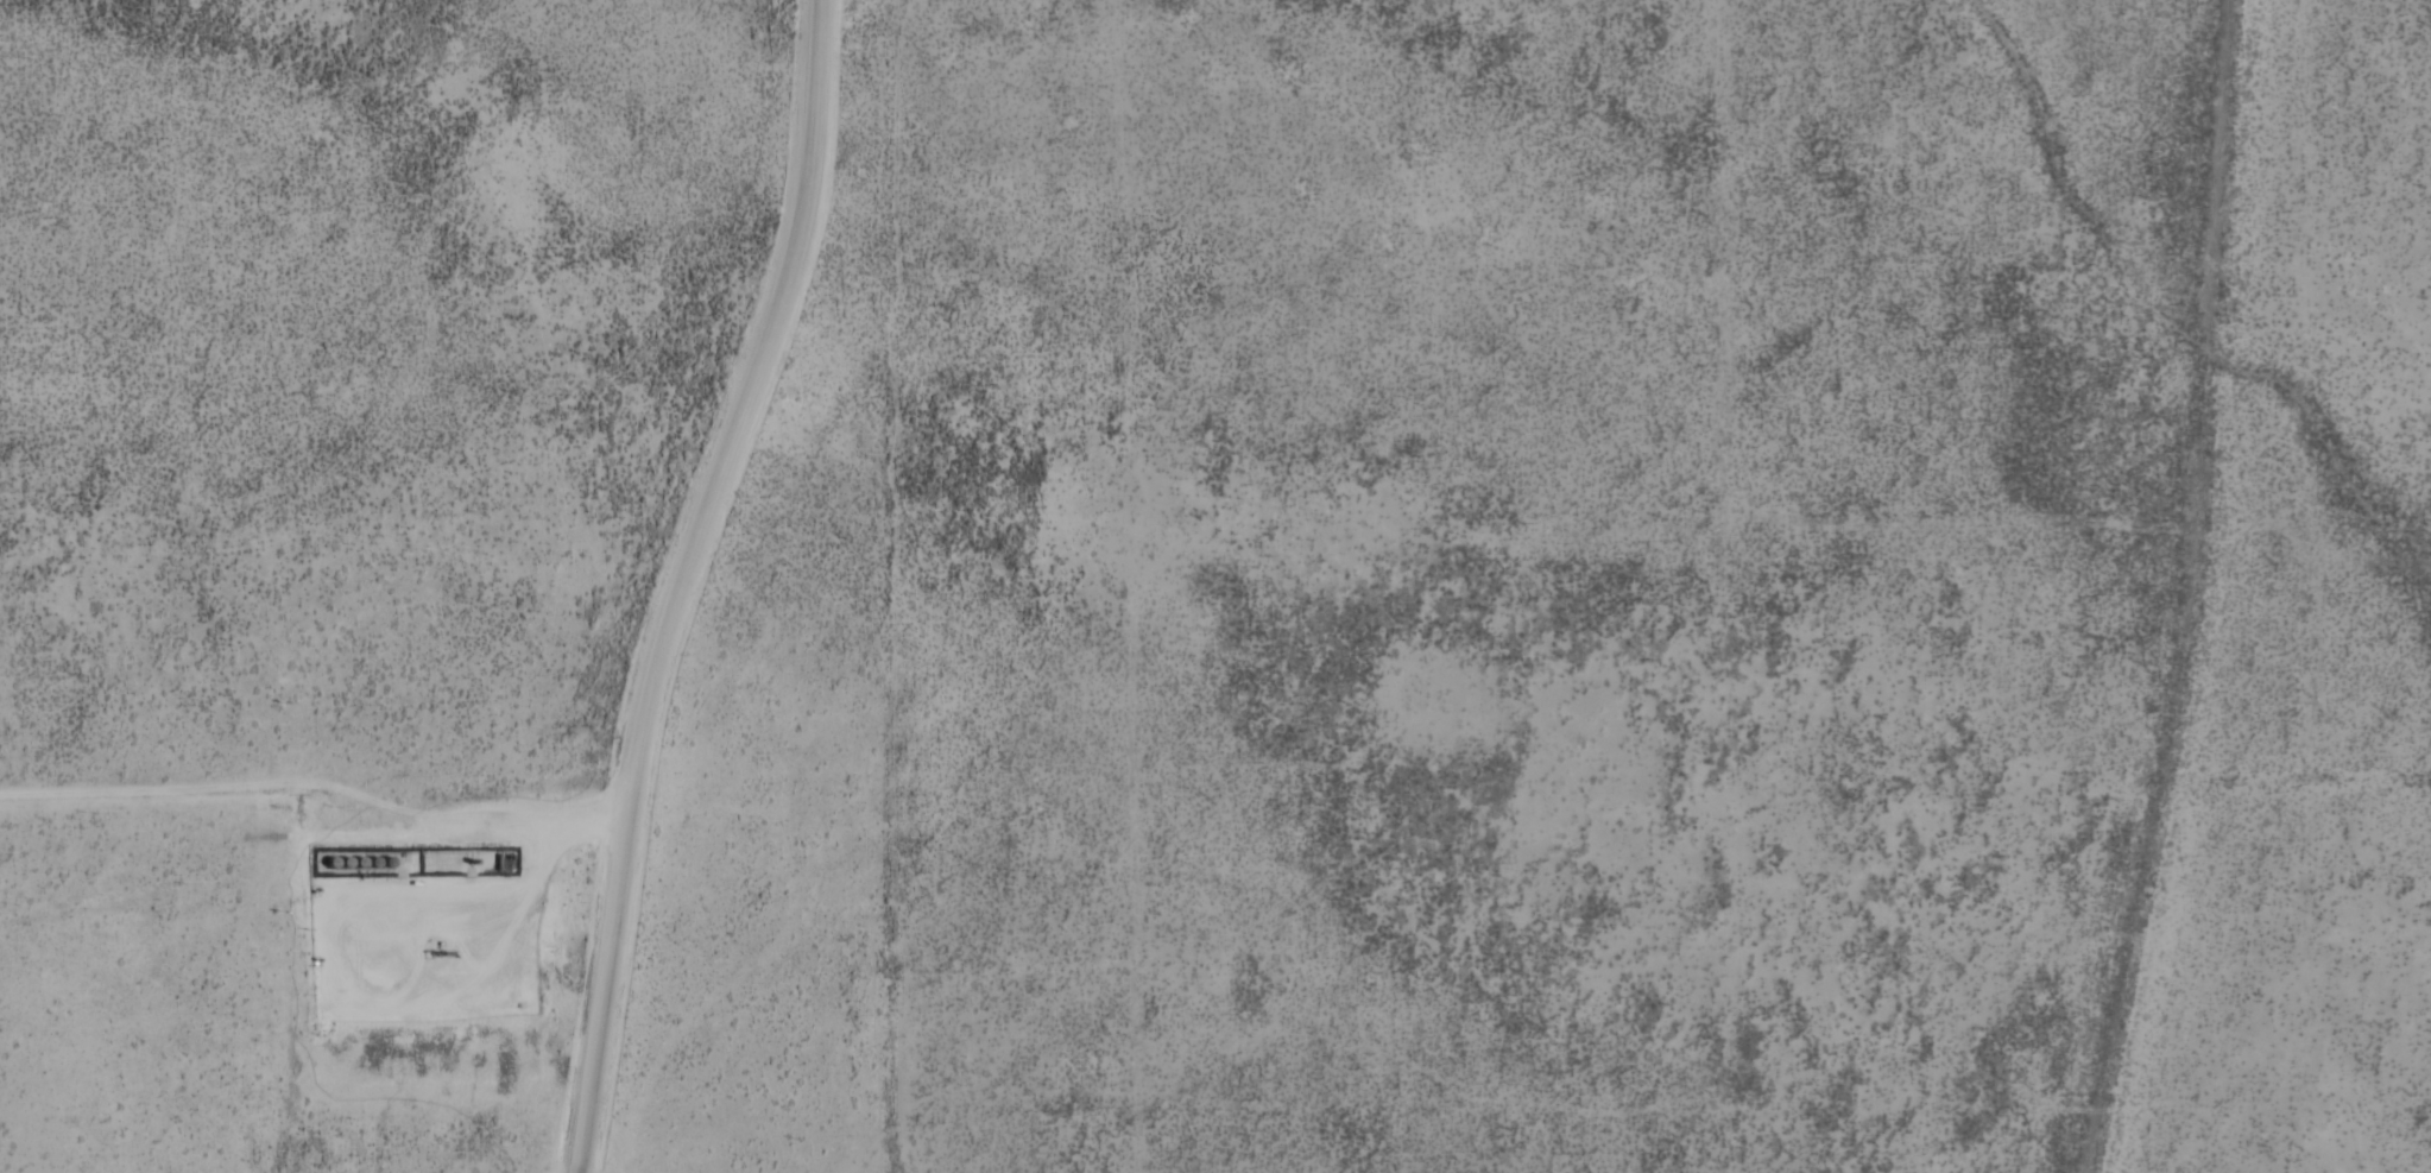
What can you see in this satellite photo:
road: (683, 581)
road: (501, 910)

